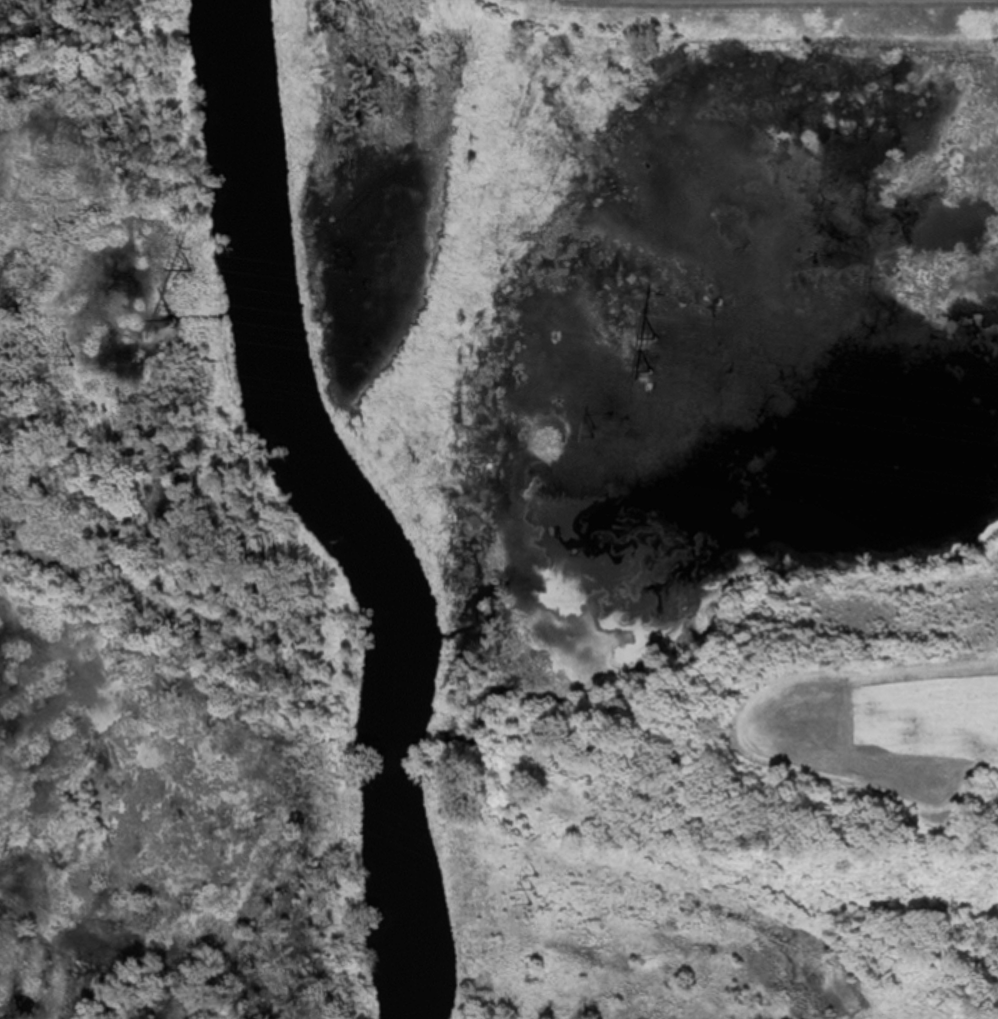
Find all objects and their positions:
power tower: (192, 264)
power tower: (174, 314)
power tower: (655, 350)
power tower: (70, 355)
power tower: (595, 432)
power tower: (530, 883)

